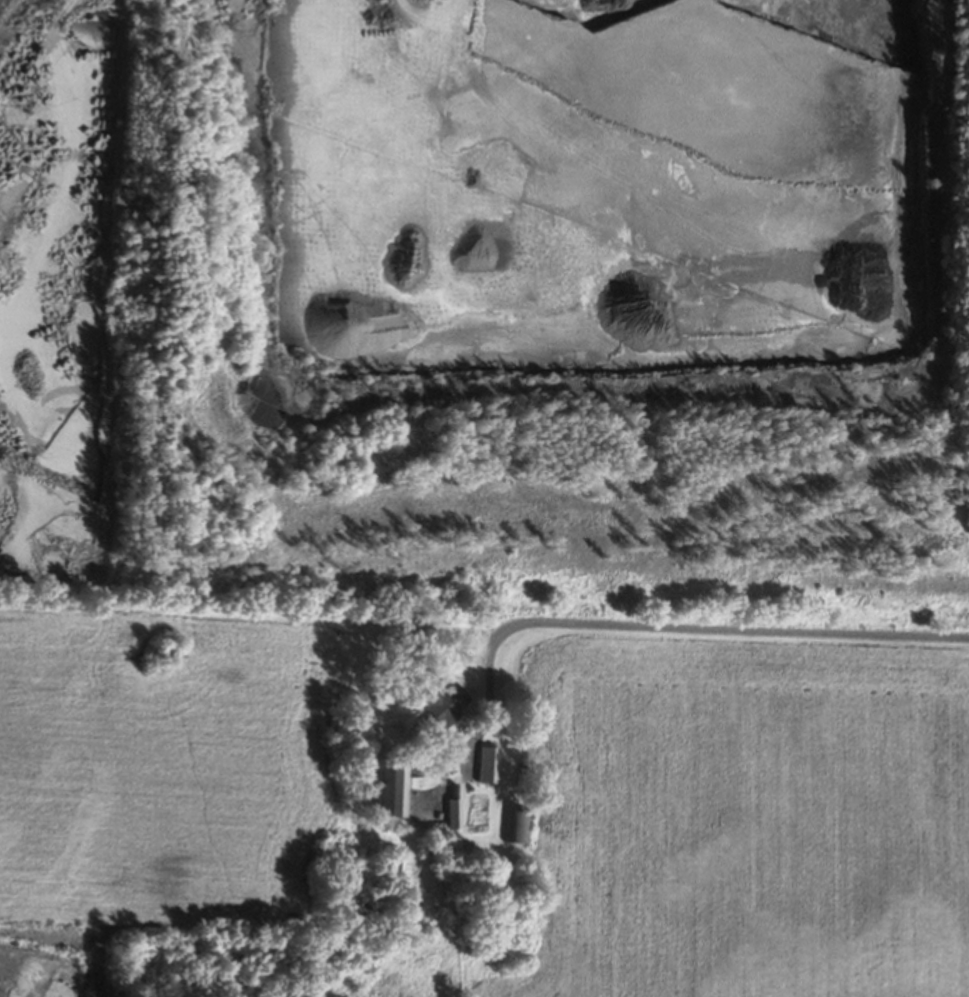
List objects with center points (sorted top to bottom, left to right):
quarry: (488, 312)
road: (744, 629)
road: (480, 693)
building: (438, 712)
building: (485, 768)
building: (386, 795)
building: (451, 818)
building: (514, 829)

